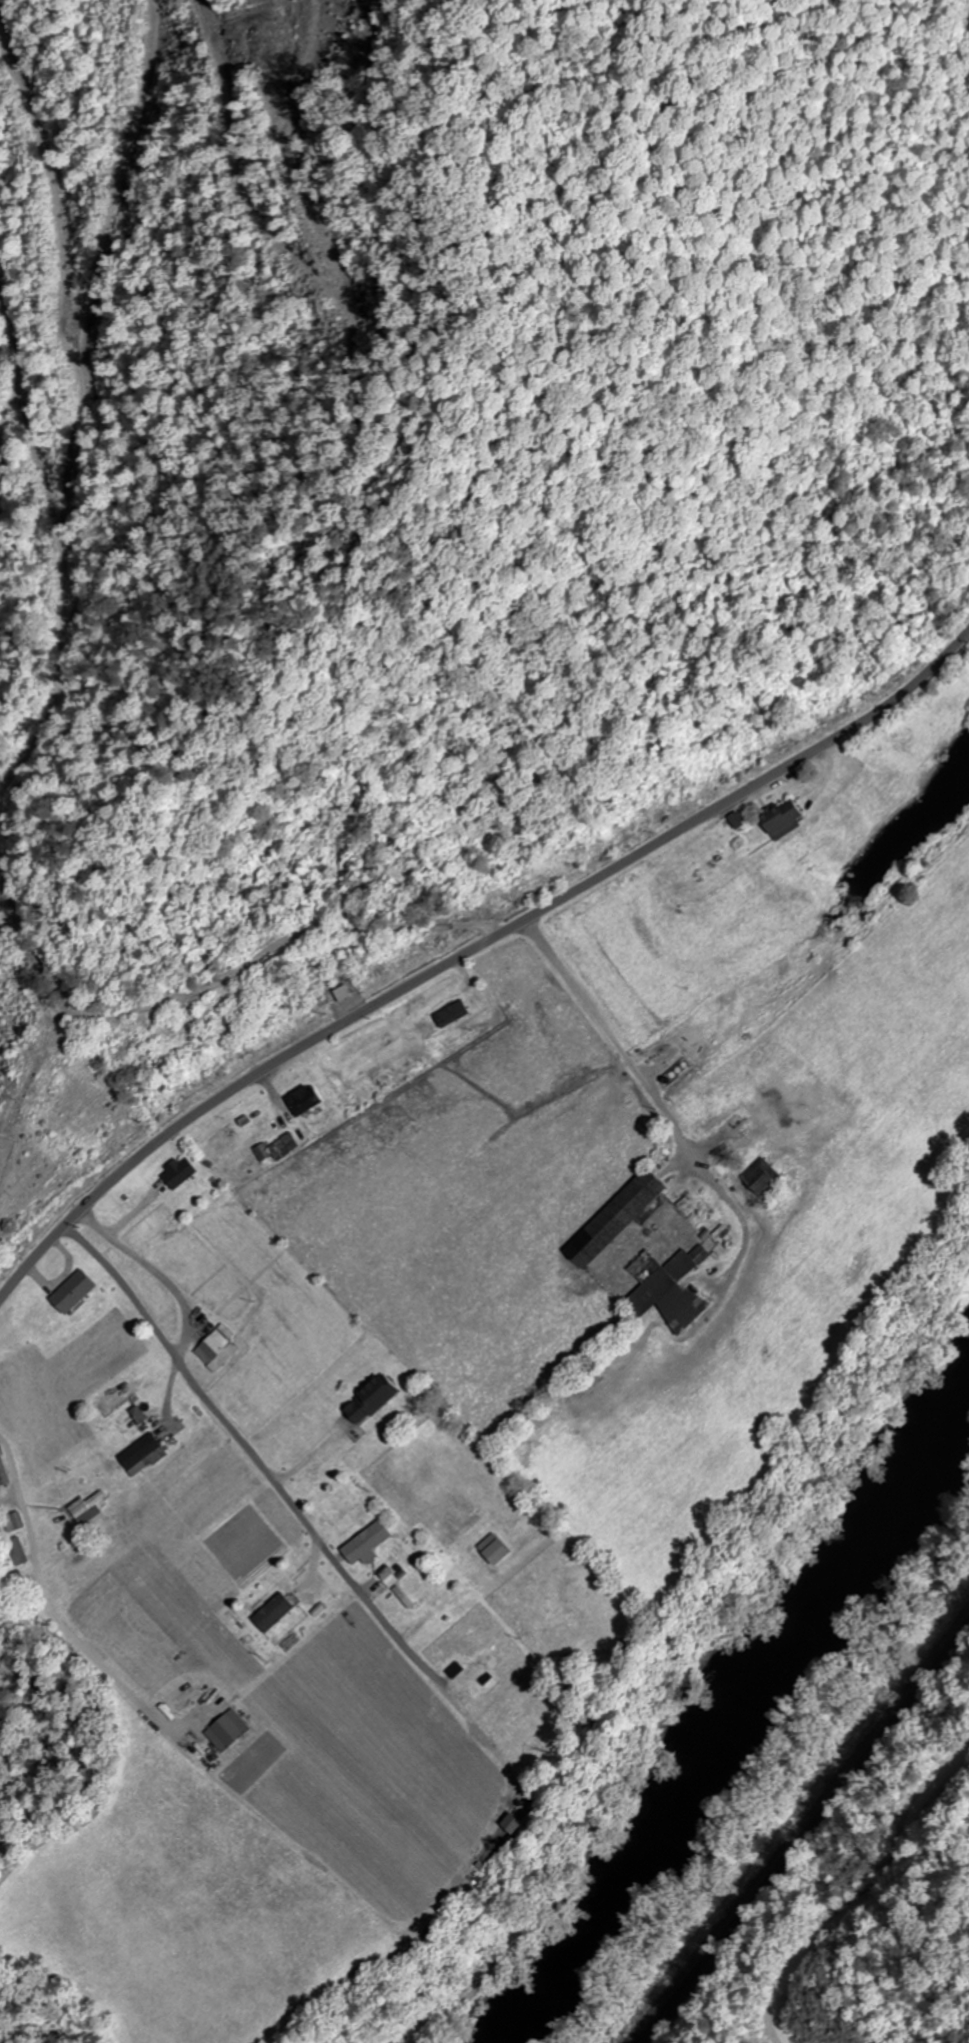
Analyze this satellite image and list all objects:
building: (779, 819)
road: (471, 953)
building: (340, 995)
building: (449, 1014)
building: (299, 1100)
building: (175, 1174)
building: (760, 1177)
building: (691, 1212)
building: (621, 1216)
building: (665, 1290)
building: (70, 1292)
building: (211, 1349)
building: (113, 1399)
building: (368, 1400)
building: (133, 1424)
building: (139, 1452)
building: (3, 1474)
building: (92, 1511)
building: (14, 1523)
building: (367, 1544)
building: (493, 1550)
building: (19, 1552)
building: (392, 1575)
building: (279, 1616)
building: (469, 1669)
building: (184, 1706)
river: (732, 1718)
railway: (803, 1832)
road: (833, 1877)

